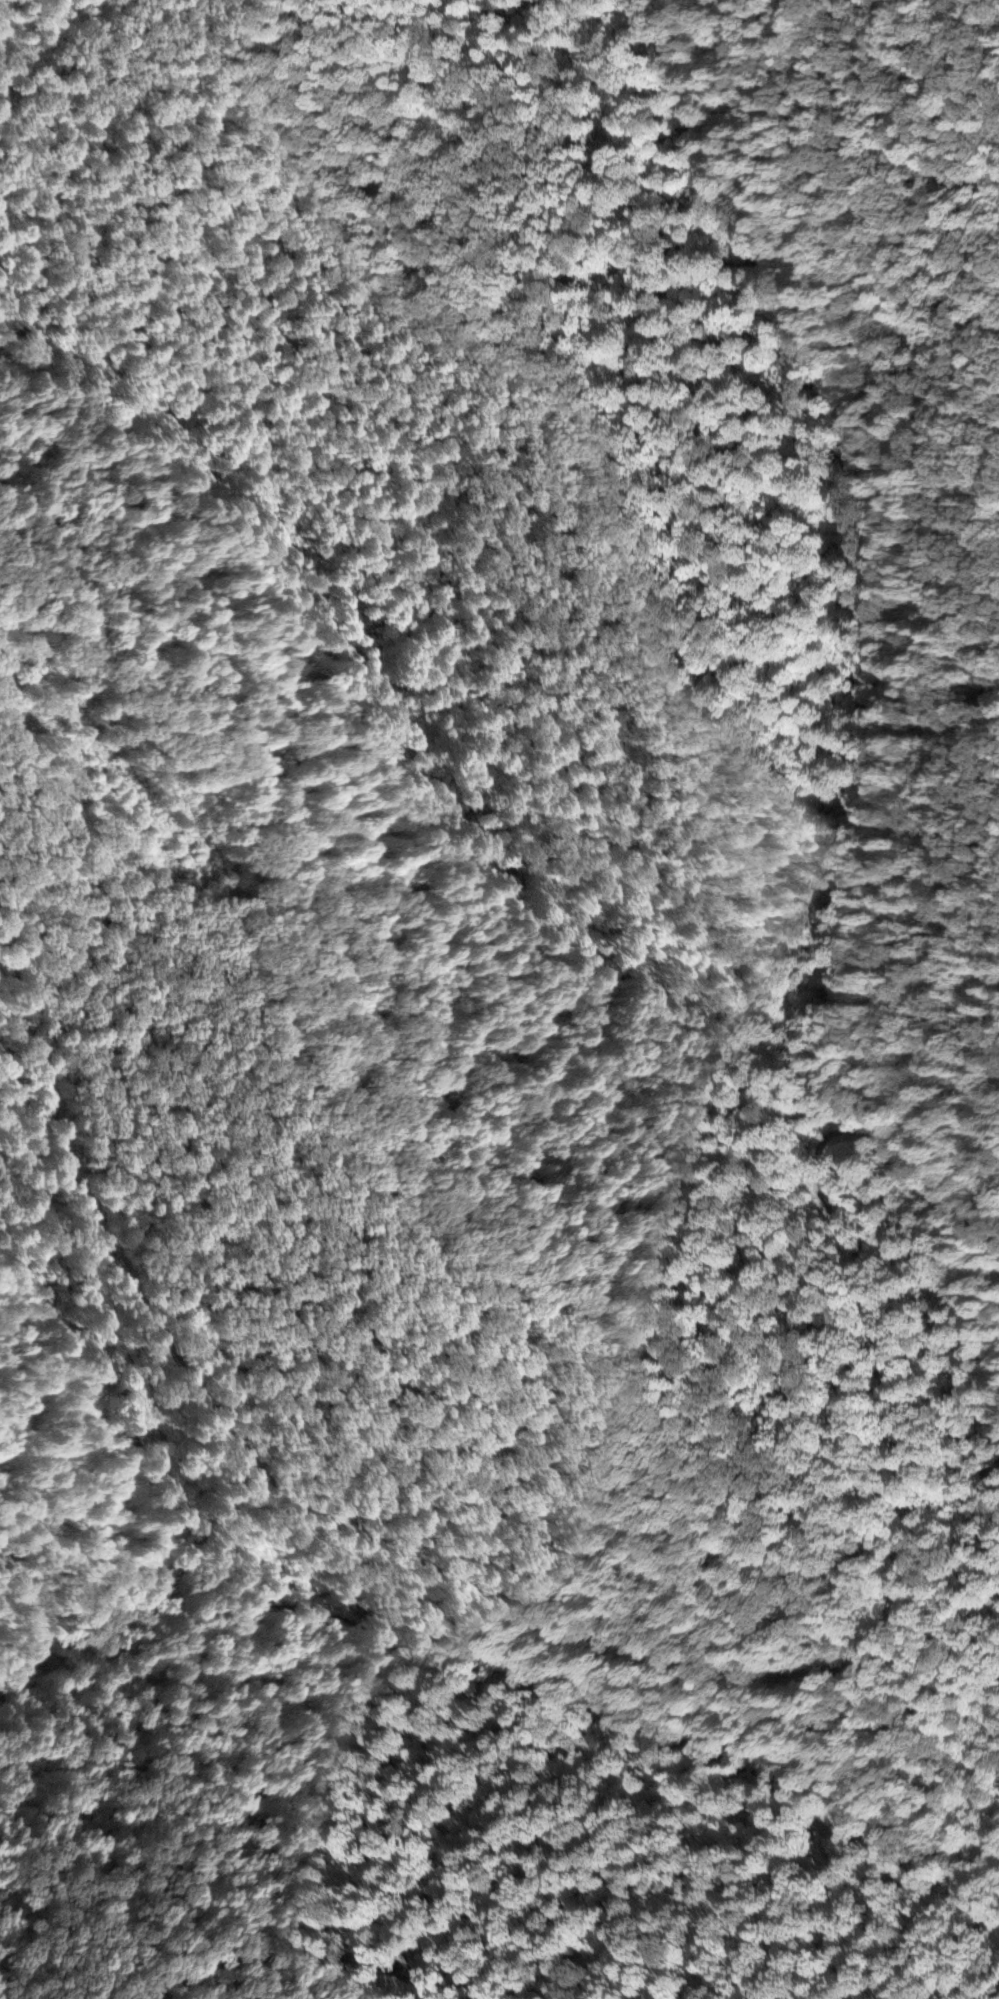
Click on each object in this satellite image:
road: (270, 1956)

